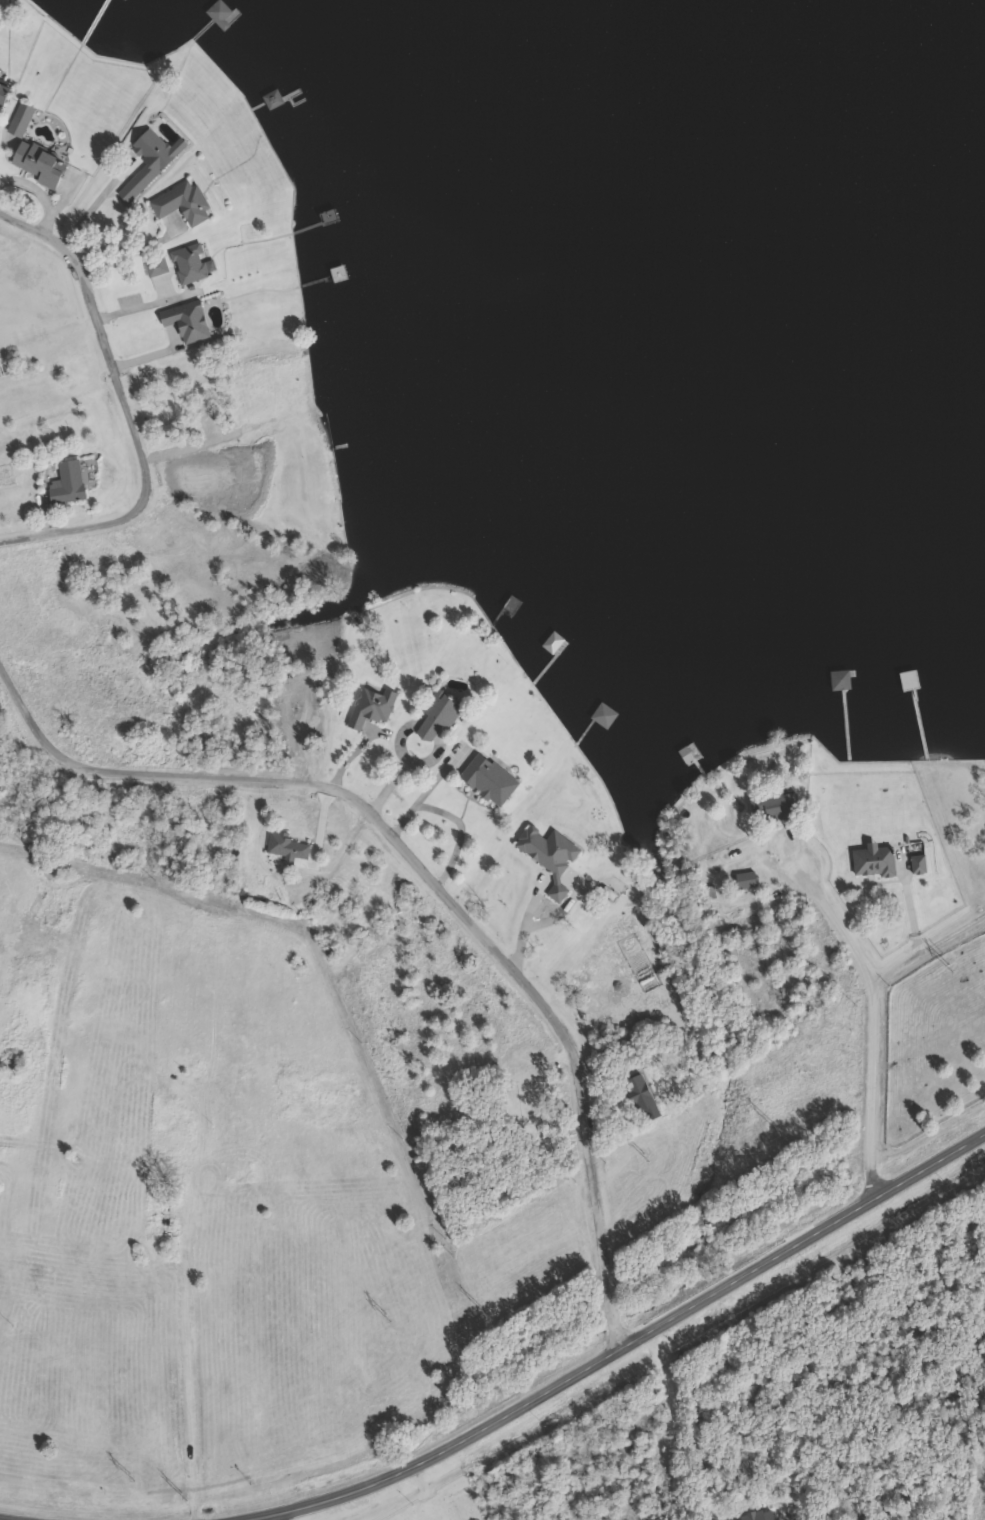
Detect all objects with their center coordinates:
building: (222, 15)
building: (4, 94)
building: (22, 119)
building: (41, 163)
building: (149, 163)
road: (41, 193)
road: (99, 202)
building: (184, 203)
road: (131, 251)
building: (192, 264)
road: (146, 305)
road: (126, 410)
building: (70, 483)
road: (46, 515)
building: (373, 706)
building: (441, 713)
road: (348, 757)
building: (492, 779)
road: (390, 785)
road: (423, 794)
building: (778, 806)
road: (321, 821)
road: (461, 833)
building: (289, 846)
building: (552, 856)
building: (876, 860)
building: (921, 865)
road: (428, 875)
building: (749, 880)
road: (560, 914)
road: (525, 922)
road: (930, 948)
road: (875, 1003)
building: (16, 1067)
road: (187, 1347)
road: (596, 1353)
road: (429, 1494)
road: (272, 1513)
road: (29, 1516)
road: (194, 1519)

